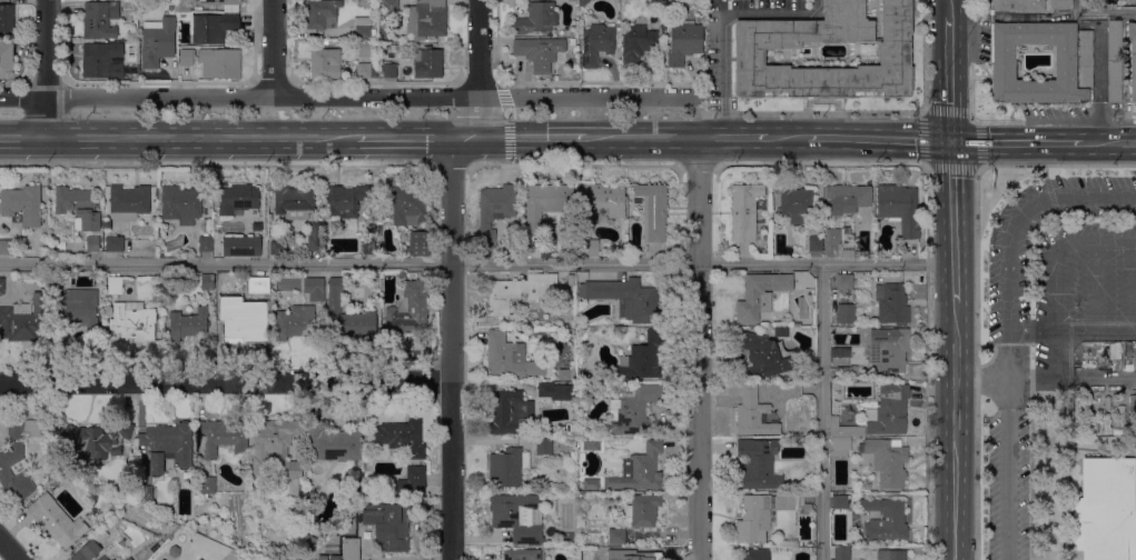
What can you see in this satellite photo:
building: (1130, 0)
building: (583, 2)
building: (1060, 3)
building: (225, 4)
road: (976, 4)
building: (1016, 6)
building: (182, 7)
building: (389, 8)
road: (949, 10)
road: (1100, 12)
building: (322, 13)
building: (535, 18)
building: (99, 19)
building: (426, 19)
building: (7, 20)
building: (210, 27)
building: (362, 28)
road: (722, 28)
building: (157, 42)
building: (571, 42)
building: (683, 42)
building: (596, 44)
building: (635, 44)
road: (273, 48)
building: (366, 49)
building: (539, 52)
building: (186, 57)
building: (895, 57)
building: (1132, 59)
building: (6, 60)
building: (101, 60)
building: (1114, 61)
building: (219, 63)
building: (325, 63)
building: (1006, 63)
building: (428, 64)
road: (43, 68)
road: (477, 69)
building: (365, 70)
building: (389, 70)
road: (949, 81)
road: (1098, 86)
road: (349, 96)
road: (759, 111)
road: (945, 112)
road: (1129, 113)
road: (971, 119)
road: (21, 138)
road: (923, 138)
road: (199, 139)
road: (416, 139)
road: (532, 139)
road: (642, 139)
road: (711, 139)
road: (747, 139)
road: (789, 139)
road: (880, 140)
traffic signals: (951, 142)
road: (1016, 142)
road: (1108, 142)
road: (977, 146)
road: (217, 164)
road: (451, 164)
road: (574, 166)
road: (698, 166)
road: (820, 166)
road: (952, 167)
building: (846, 199)
building: (237, 200)
building: (345, 200)
building: (128, 201)
building: (294, 202)
building: (546, 203)
building: (599, 203)
building: (796, 203)
building: (180, 204)
building: (409, 204)
building: (21, 206)
building: (78, 208)
building: (899, 208)
building: (494, 211)
building: (652, 211)
building: (743, 211)
building: (121, 217)
building: (268, 218)
road: (952, 222)
building: (206, 226)
building: (325, 229)
building: (399, 230)
building: (832, 237)
building: (315, 239)
building: (3, 243)
building: (92, 243)
building: (418, 243)
building: (814, 243)
building: (113, 244)
building: (205, 244)
building: (241, 247)
building: (369, 247)
building: (586, 247)
building: (278, 248)
building: (569, 250)
building: (544, 251)
building: (846, 252)
road: (826, 263)
road: (349, 264)
parking lot: (1059, 264)
road: (1054, 267)
building: (402, 274)
building: (56, 281)
building: (208, 282)
building: (844, 282)
building: (258, 284)
road: (977, 284)
building: (1, 286)
building: (115, 286)
road: (1134, 287)
road: (1094, 288)
building: (314, 289)
building: (518, 292)
building: (759, 296)
building: (625, 299)
building: (891, 303)
building: (408, 310)
building: (78, 311)
building: (846, 313)
building: (349, 316)
building: (24, 321)
building: (132, 321)
building: (294, 322)
building: (243, 323)
building: (188, 324)
road: (1007, 326)
building: (780, 332)
building: (408, 343)
road: (453, 349)
road: (699, 349)
building: (888, 351)
building: (840, 352)
building: (765, 356)
road: (1071, 356)
building: (504, 357)
building: (641, 359)
road: (926, 361)
building: (847, 374)
building: (565, 376)
road: (226, 380)
road: (980, 380)
building: (554, 391)
building: (630, 410)
building: (889, 410)
road: (823, 411)
building: (510, 413)
building: (752, 413)
building: (844, 430)
road: (954, 431)
building: (221, 437)
building: (402, 437)
building: (98, 440)
building: (332, 443)
building: (167, 446)
building: (544, 446)
building: (274, 447)
building: (840, 447)
building: (17, 457)
building: (887, 461)
road: (1067, 462)
building: (758, 464)
building: (507, 468)
building: (639, 470)
road: (1030, 470)
building: (187, 476)
building: (411, 480)
building: (589, 483)
parking lot: (1007, 483)
building: (207, 486)
building: (145, 494)
building: (204, 497)
building: (839, 504)
building: (128, 507)
building: (642, 510)
building: (807, 510)
building: (1105, 510)
building: (761, 516)
building: (517, 518)
building: (886, 520)
building: (56, 521)
building: (388, 526)
building: (101, 536)
building: (616, 537)
building: (352, 548)
road: (9, 549)
building: (87, 551)
building: (174, 552)
building: (841, 553)
building: (522, 554)
building: (632, 554)
building: (754, 554)
building: (891, 554)
building: (103, 558)
building: (129, 559)
building: (198, 559)

